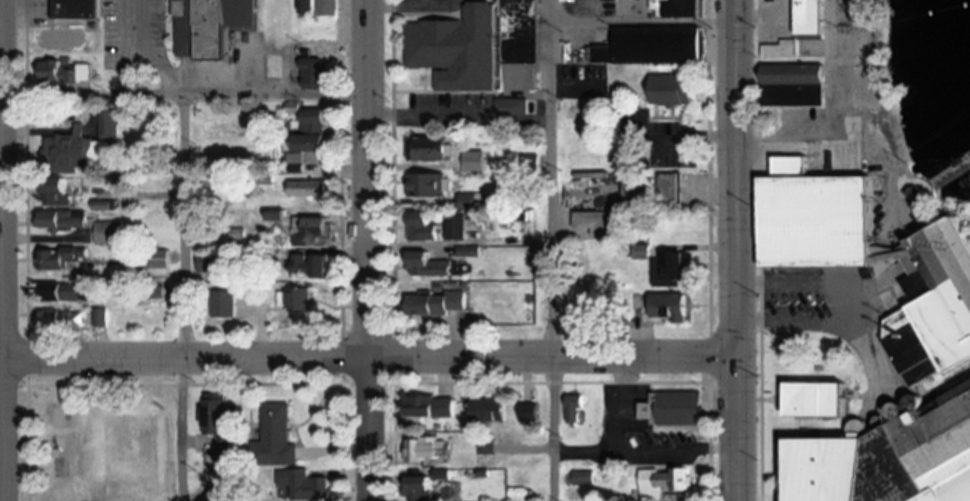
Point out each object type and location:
building: (72, 7)
building: (327, 7)
building: (685, 8)
building: (810, 17)
building: (204, 21)
building: (295, 22)
building: (58, 39)
building: (519, 45)
building: (652, 45)
road: (134, 48)
building: (456, 48)
parking lot: (169, 52)
building: (272, 63)
building: (64, 71)
building: (313, 72)
building: (793, 85)
building: (672, 89)
road: (186, 96)
building: (511, 106)
building: (108, 125)
building: (308, 137)
building: (428, 148)
building: (65, 153)
power tower: (908, 161)
building: (527, 164)
dam: (949, 166)
building: (431, 184)
building: (668, 187)
building: (308, 188)
building: (635, 188)
building: (54, 192)
building: (63, 219)
building: (597, 222)
building: (421, 226)
building: (454, 226)
building: (312, 231)
building: (110, 232)
road: (2, 250)
road: (368, 250)
road: (549, 250)
road: (738, 250)
building: (641, 251)
building: (64, 256)
building: (209, 262)
building: (877, 262)
building: (155, 263)
building: (426, 264)
building: (310, 265)
building: (669, 268)
building: (60, 291)
building: (152, 292)
building: (294, 297)
road: (180, 298)
building: (221, 303)
building: (437, 303)
building: (668, 306)
building: (60, 319)
road: (369, 358)
building: (817, 399)
building: (428, 406)
building: (487, 409)
building: (573, 409)
building: (672, 409)
building: (528, 412)
building: (214, 414)
building: (274, 438)
building: (424, 450)
building: (890, 458)
building: (581, 478)
building: (662, 482)
building: (299, 485)
building: (419, 488)

